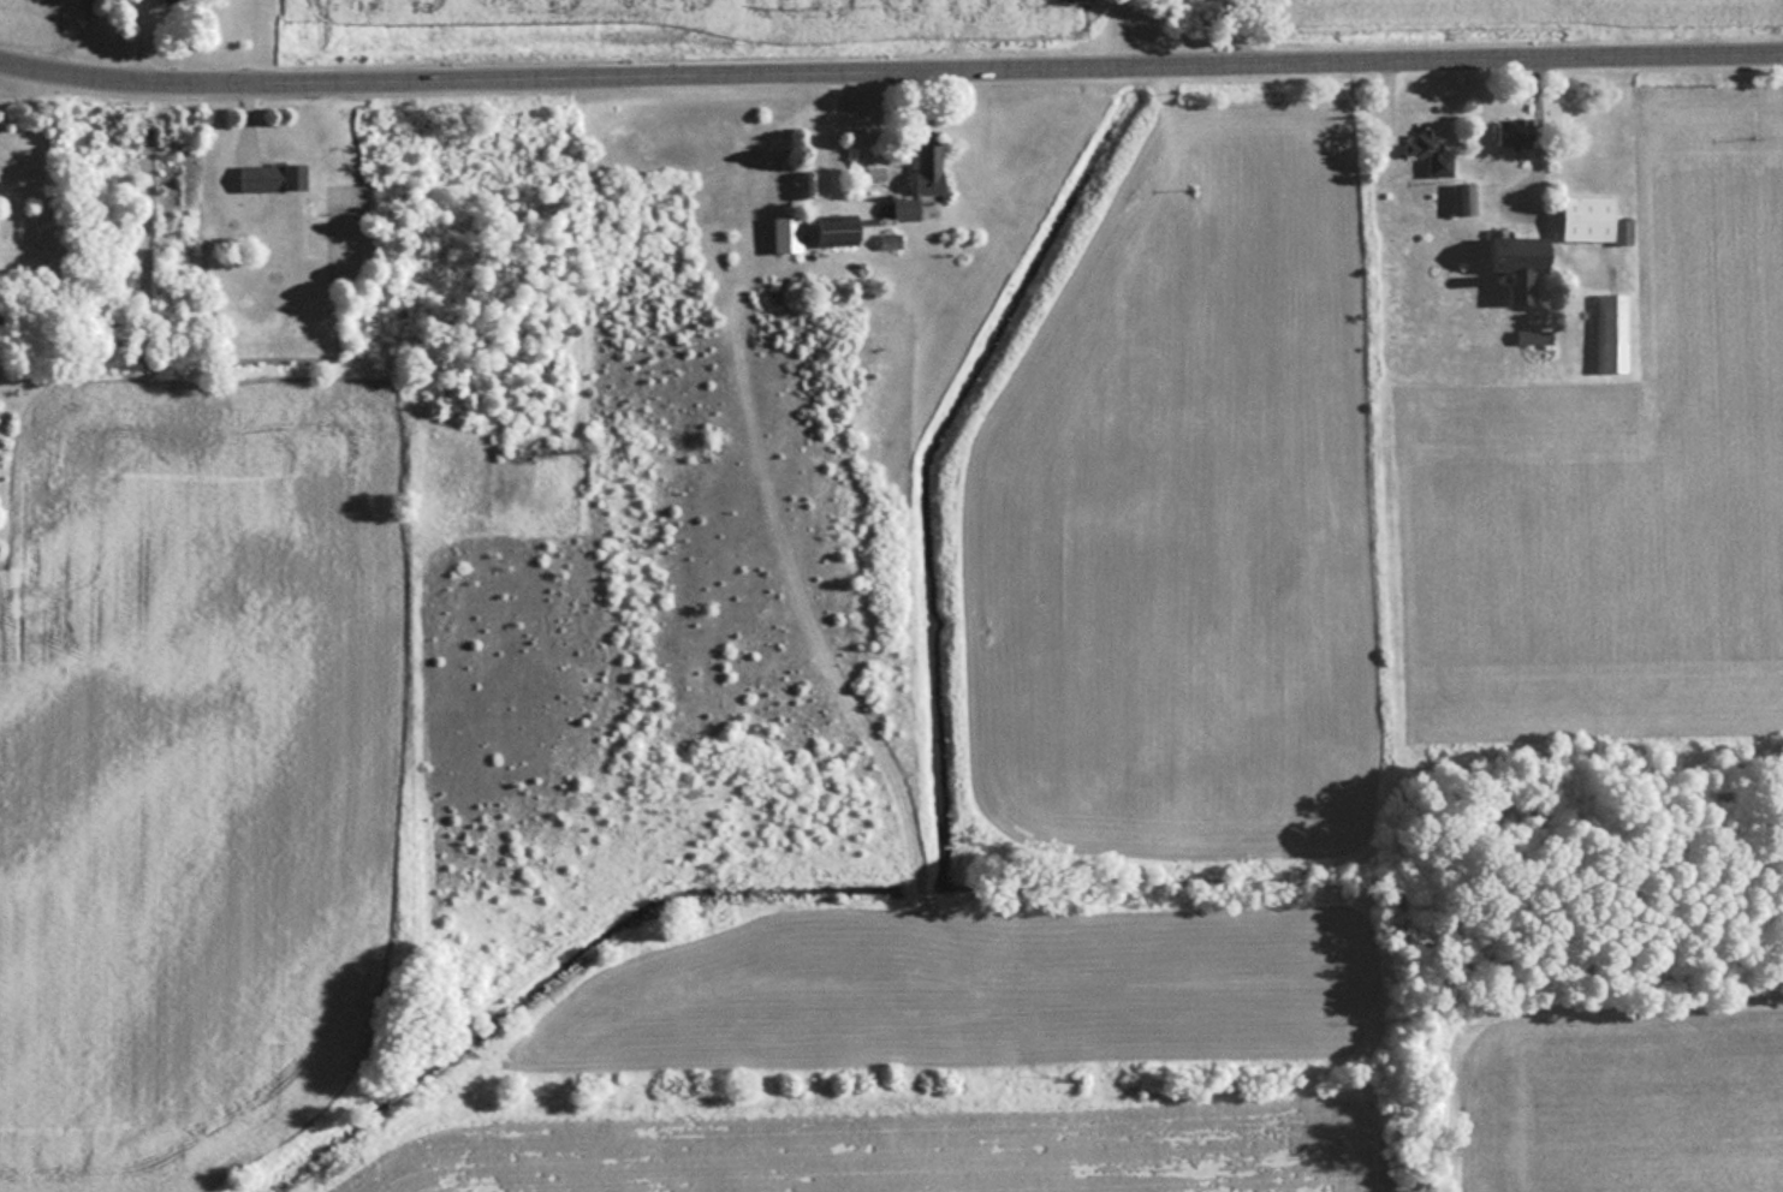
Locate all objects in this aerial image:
road: (890, 72)
building: (1506, 132)
building: (1422, 154)
building: (275, 175)
building: (926, 179)
building: (1461, 198)
building: (1587, 220)
building: (791, 232)
building: (1506, 263)
building: (1611, 332)

